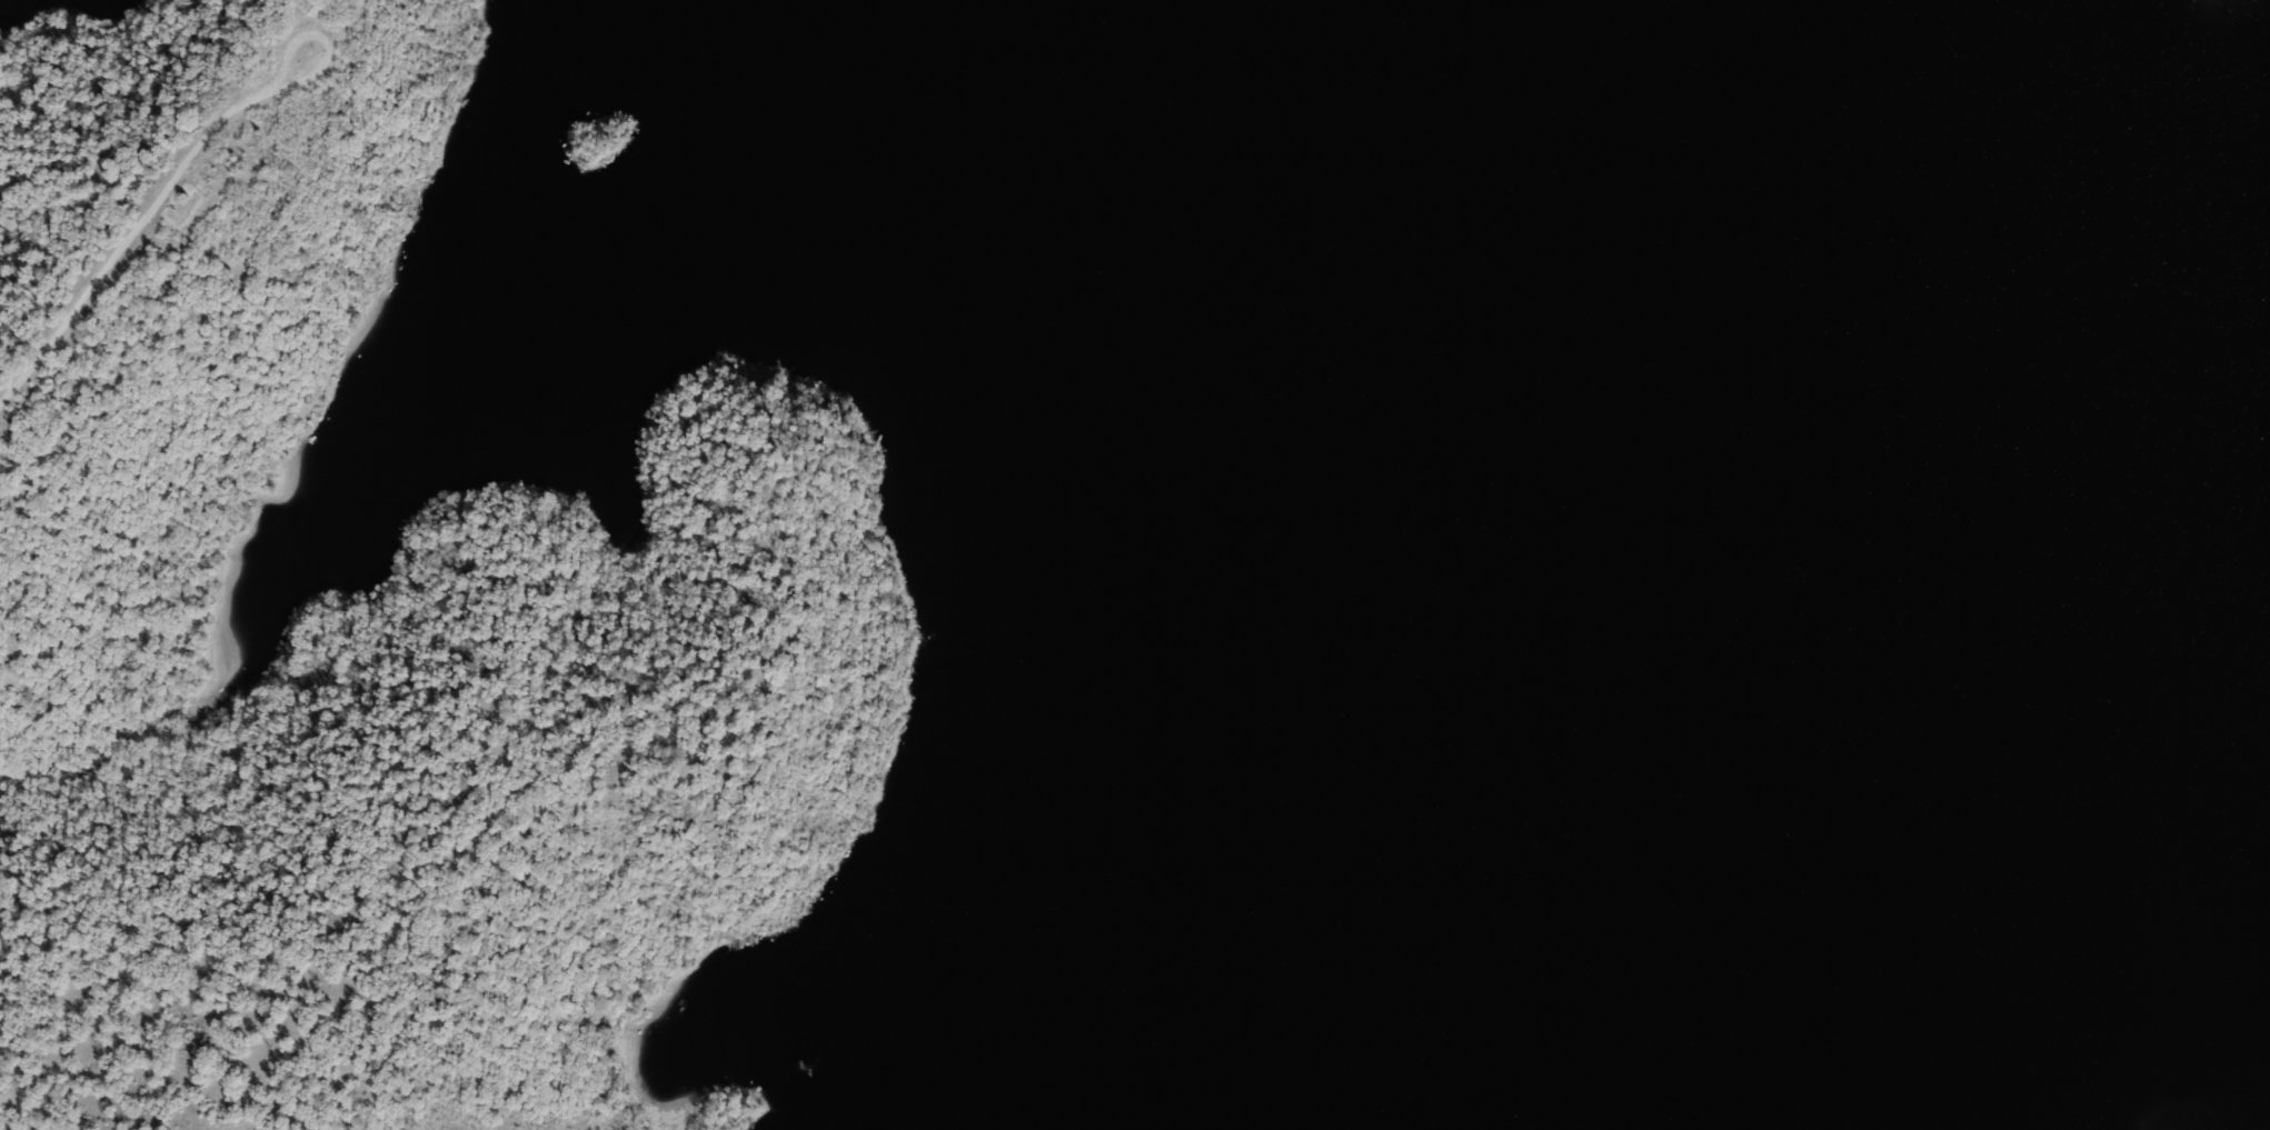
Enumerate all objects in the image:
road: (132, 234)

